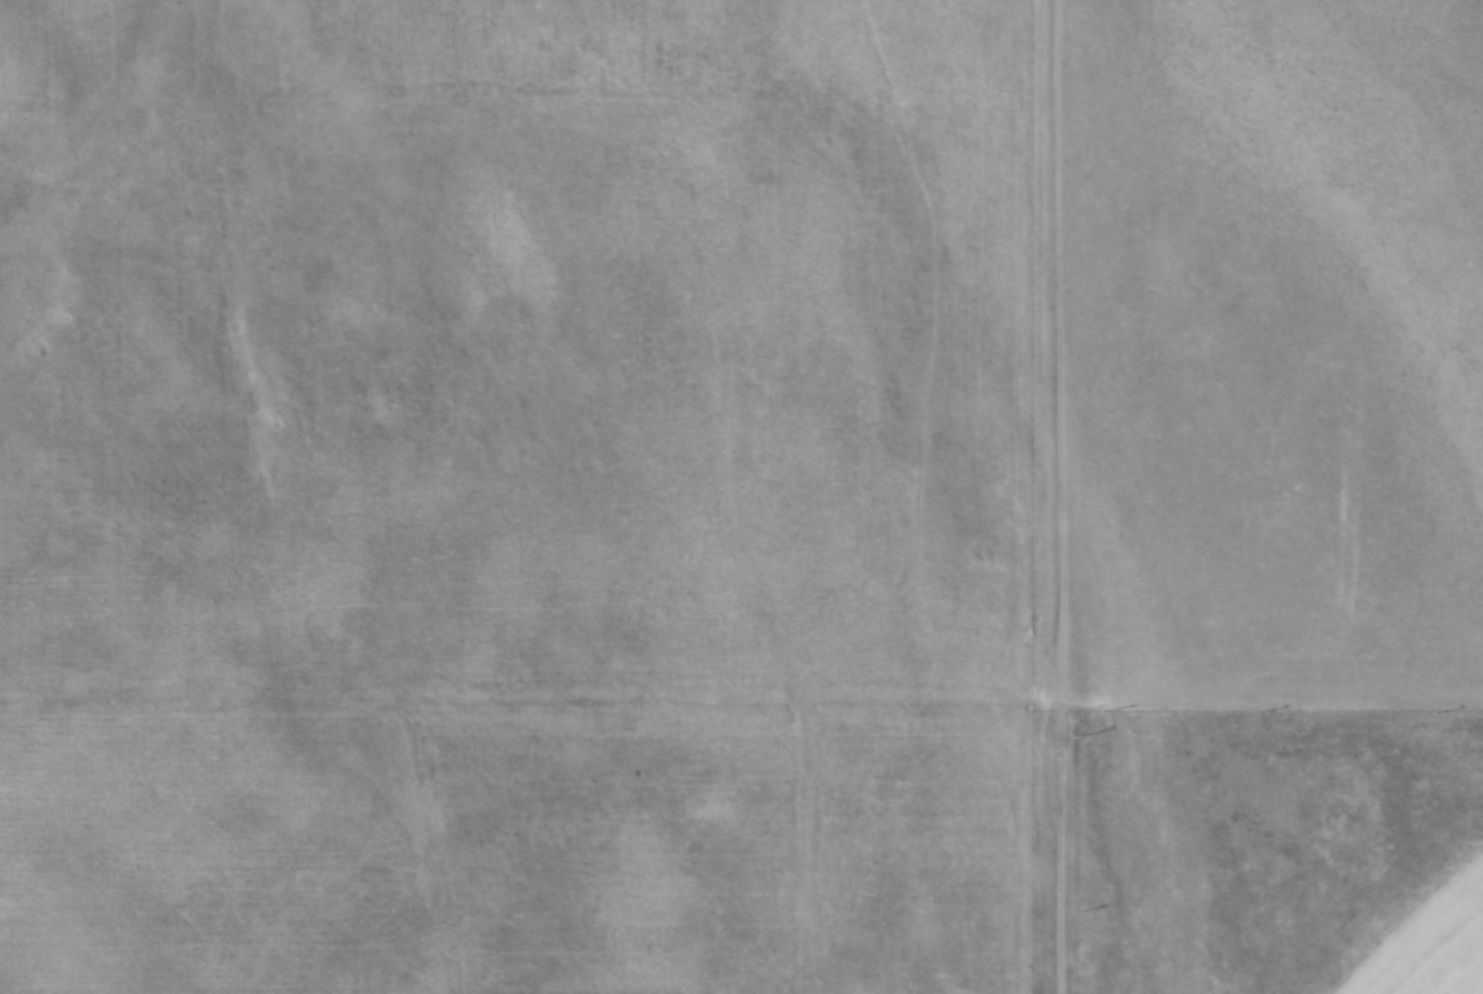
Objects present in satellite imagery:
road: (1063, 497)

